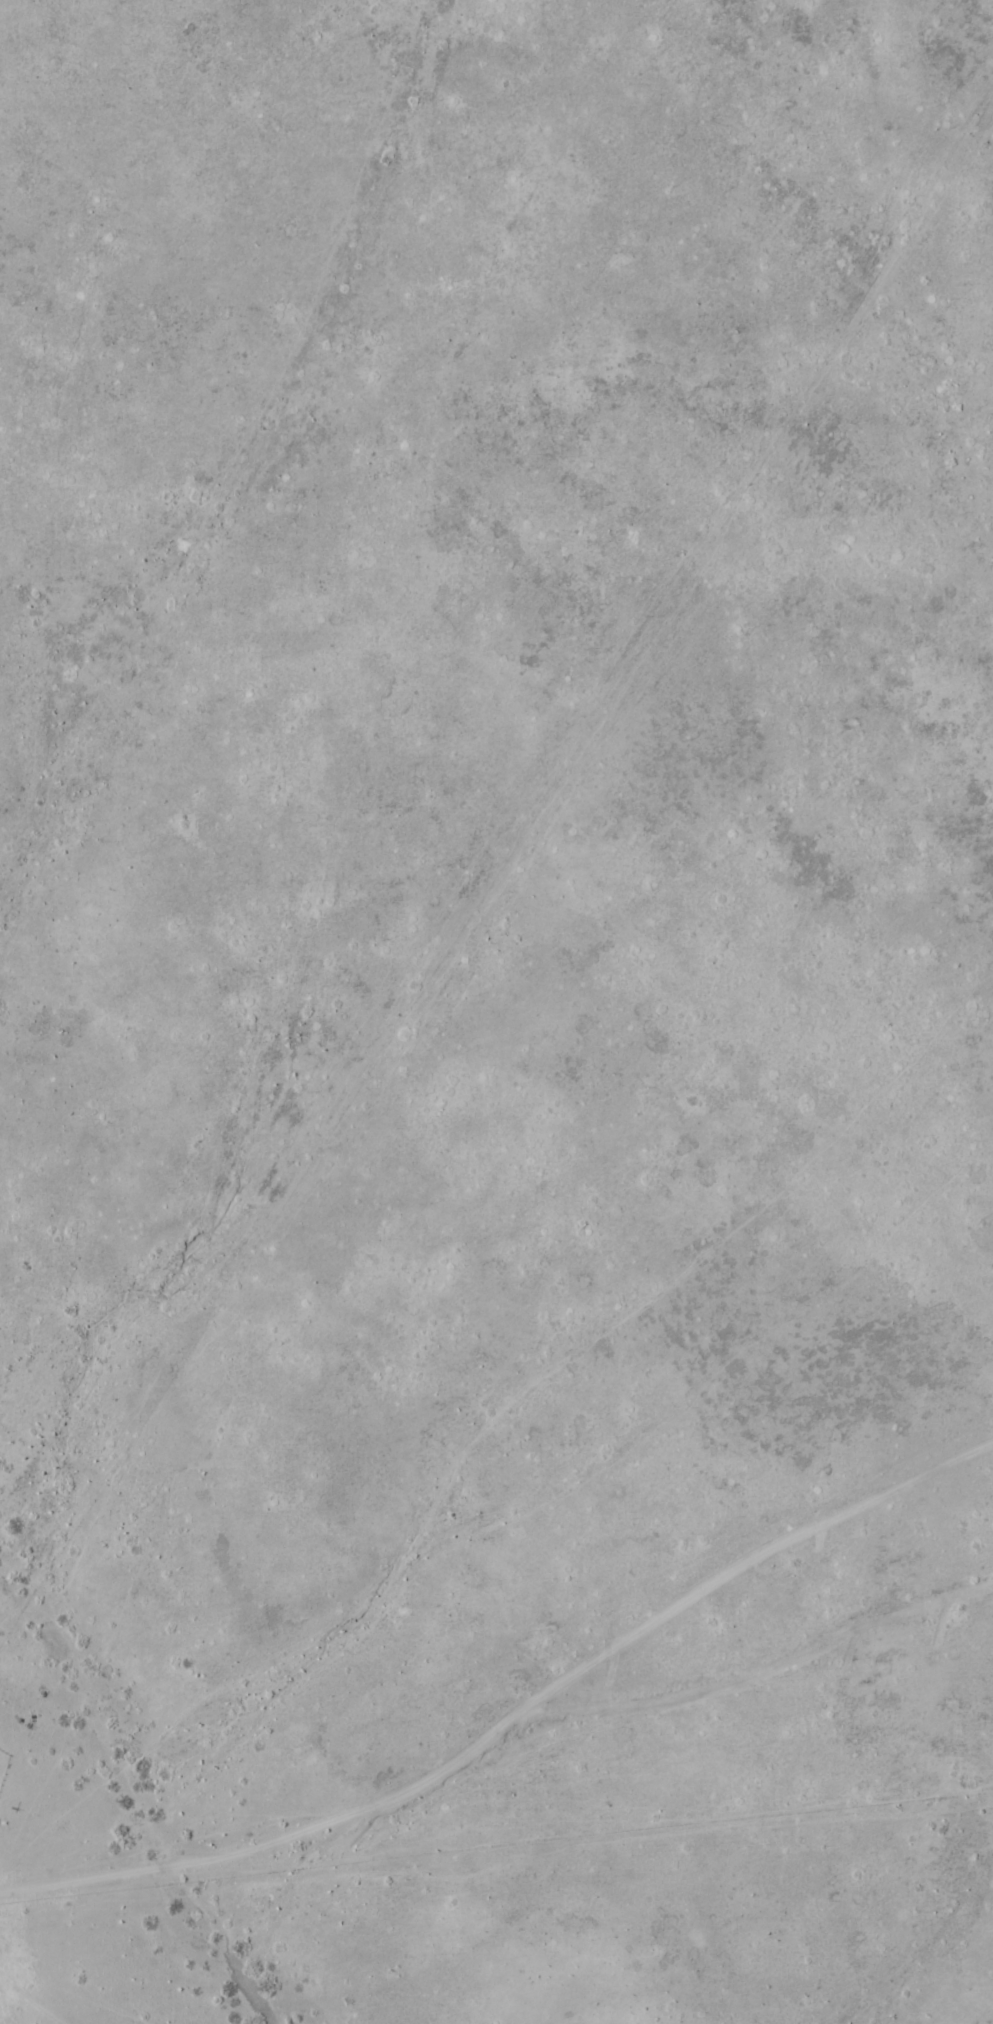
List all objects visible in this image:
road: (28, 1990)

